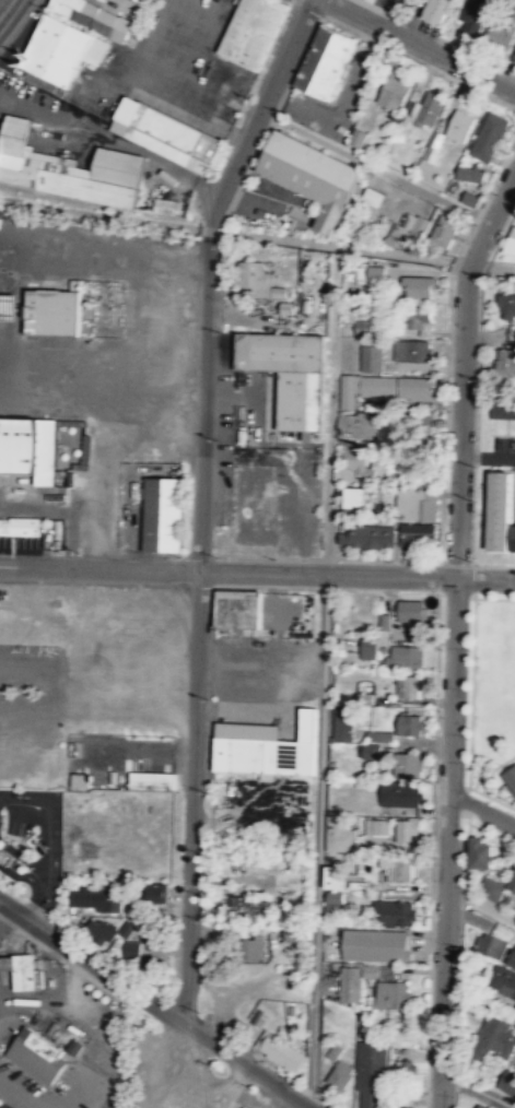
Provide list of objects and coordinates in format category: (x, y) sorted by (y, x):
parking lot: (395, 5)
building: (436, 9)
road: (383, 13)
building: (514, 13)
road: (10, 14)
building: (472, 14)
building: (97, 17)
building: (251, 31)
building: (500, 31)
road: (306, 45)
road: (419, 46)
building: (60, 48)
building: (514, 54)
building: (324, 59)
building: (393, 93)
building: (429, 107)
road: (258, 110)
road: (272, 117)
building: (459, 125)
building: (164, 133)
building: (487, 135)
building: (356, 137)
building: (432, 145)
road: (373, 166)
building: (68, 168)
road: (246, 173)
building: (469, 173)
building: (311, 174)
building: (373, 196)
building: (469, 198)
building: (164, 205)
building: (420, 225)
road: (210, 229)
building: (443, 229)
building: (389, 239)
building: (511, 241)
building: (375, 272)
building: (254, 276)
building: (418, 286)
building: (506, 304)
building: (285, 307)
building: (51, 313)
building: (415, 316)
building: (362, 326)
building: (410, 350)
building: (371, 357)
building: (505, 364)
road: (463, 366)
building: (289, 373)
building: (363, 388)
building: (413, 388)
road: (204, 402)
building: (502, 410)
building: (359, 424)
building: (27, 447)
road: (488, 455)
building: (356, 463)
building: (352, 496)
building: (414, 505)
building: (496, 511)
building: (165, 514)
building: (22, 527)
building: (415, 533)
building: (365, 538)
building: (513, 539)
road: (100, 566)
road: (327, 574)
road: (485, 577)
building: (237, 609)
building: (410, 610)
building: (367, 647)
building: (406, 656)
building: (408, 685)
building: (341, 723)
building: (408, 723)
building: (378, 735)
road: (320, 749)
building: (269, 750)
building: (370, 750)
building: (406, 764)
building: (510, 779)
building: (151, 780)
building: (78, 781)
street lamp: (204, 791)
building: (399, 794)
road: (191, 795)
road: (482, 810)
building: (379, 826)
building: (407, 828)
building: (337, 834)
road: (448, 842)
road: (54, 849)
building: (481, 852)
building: (4, 853)
building: (399, 868)
building: (332, 880)
building: (513, 883)
building: (490, 888)
building: (155, 894)
building: (94, 897)
building: (333, 901)
road: (35, 906)
building: (248, 907)
building: (395, 912)
building: (98, 931)
building: (149, 933)
building: (291, 934)
building: (490, 944)
building: (374, 945)
building: (130, 948)
building: (246, 948)
building: (512, 958)
building: (23, 969)
building: (377, 970)
building: (503, 981)
building: (349, 985)
building: (389, 994)
road: (153, 1003)
building: (514, 1010)
street lamp: (202, 1013)
building: (496, 1035)
building: (73, 1047)
building: (335, 1050)
building: (279, 1051)
building: (35, 1054)
building: (405, 1068)
building: (370, 1074)
building: (339, 1076)
building: (507, 1082)
street lamp: (250, 1086)
road: (27, 1093)
road: (11, 1096)
building: (481, 1106)
building: (243, 1107)
building: (403, 1107)

